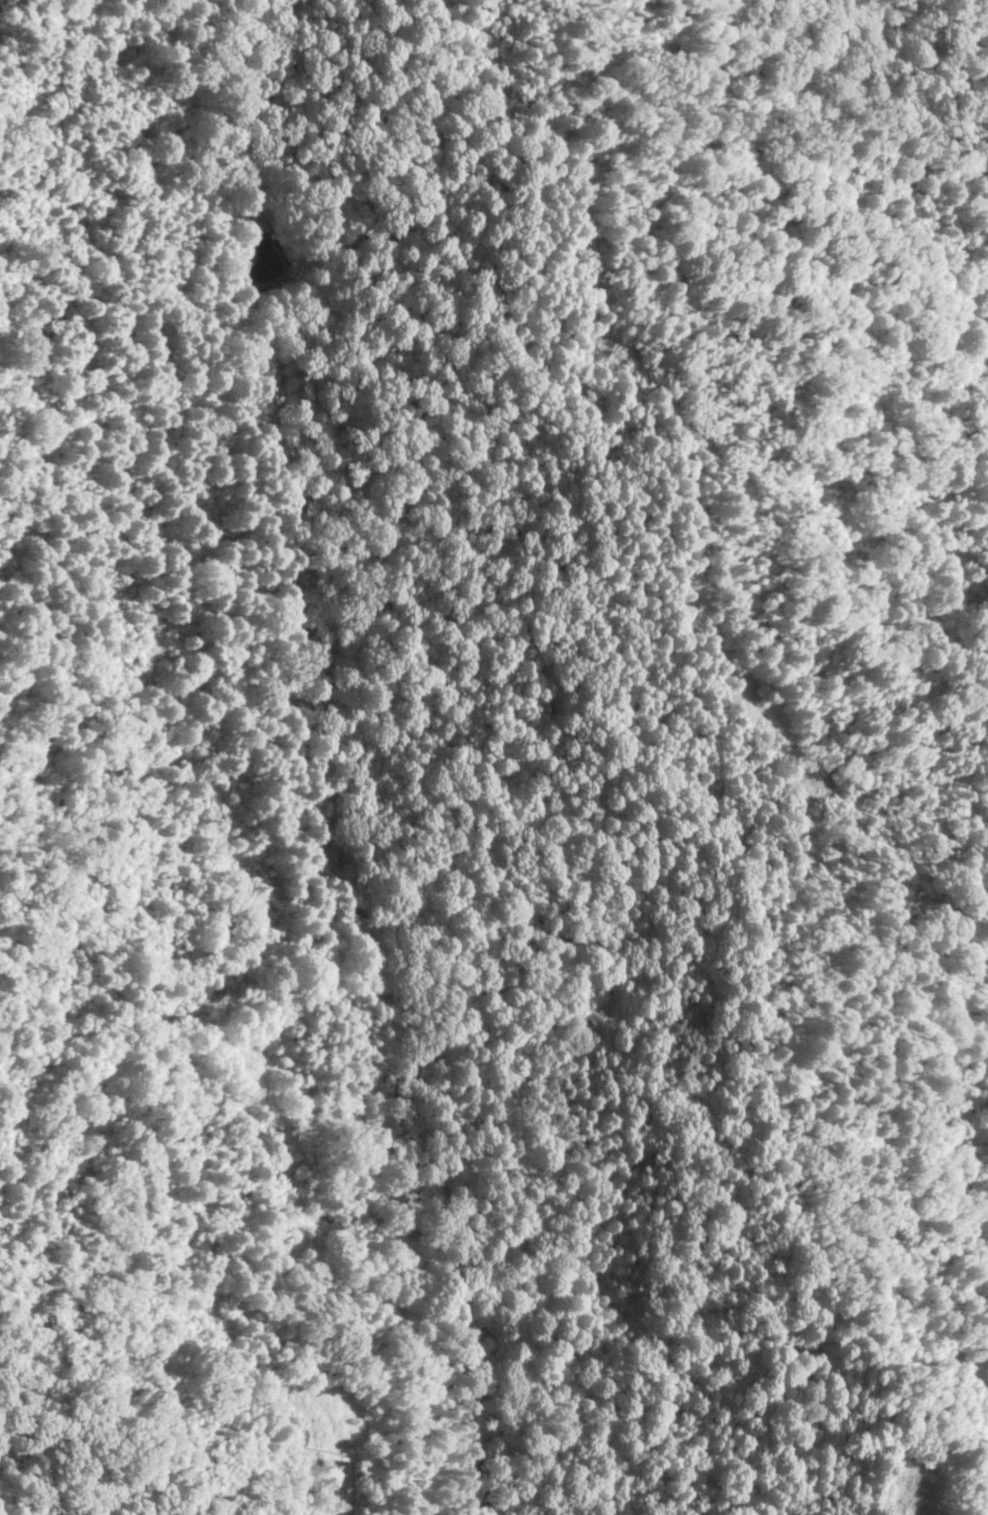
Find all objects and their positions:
road: (287, 1477)

